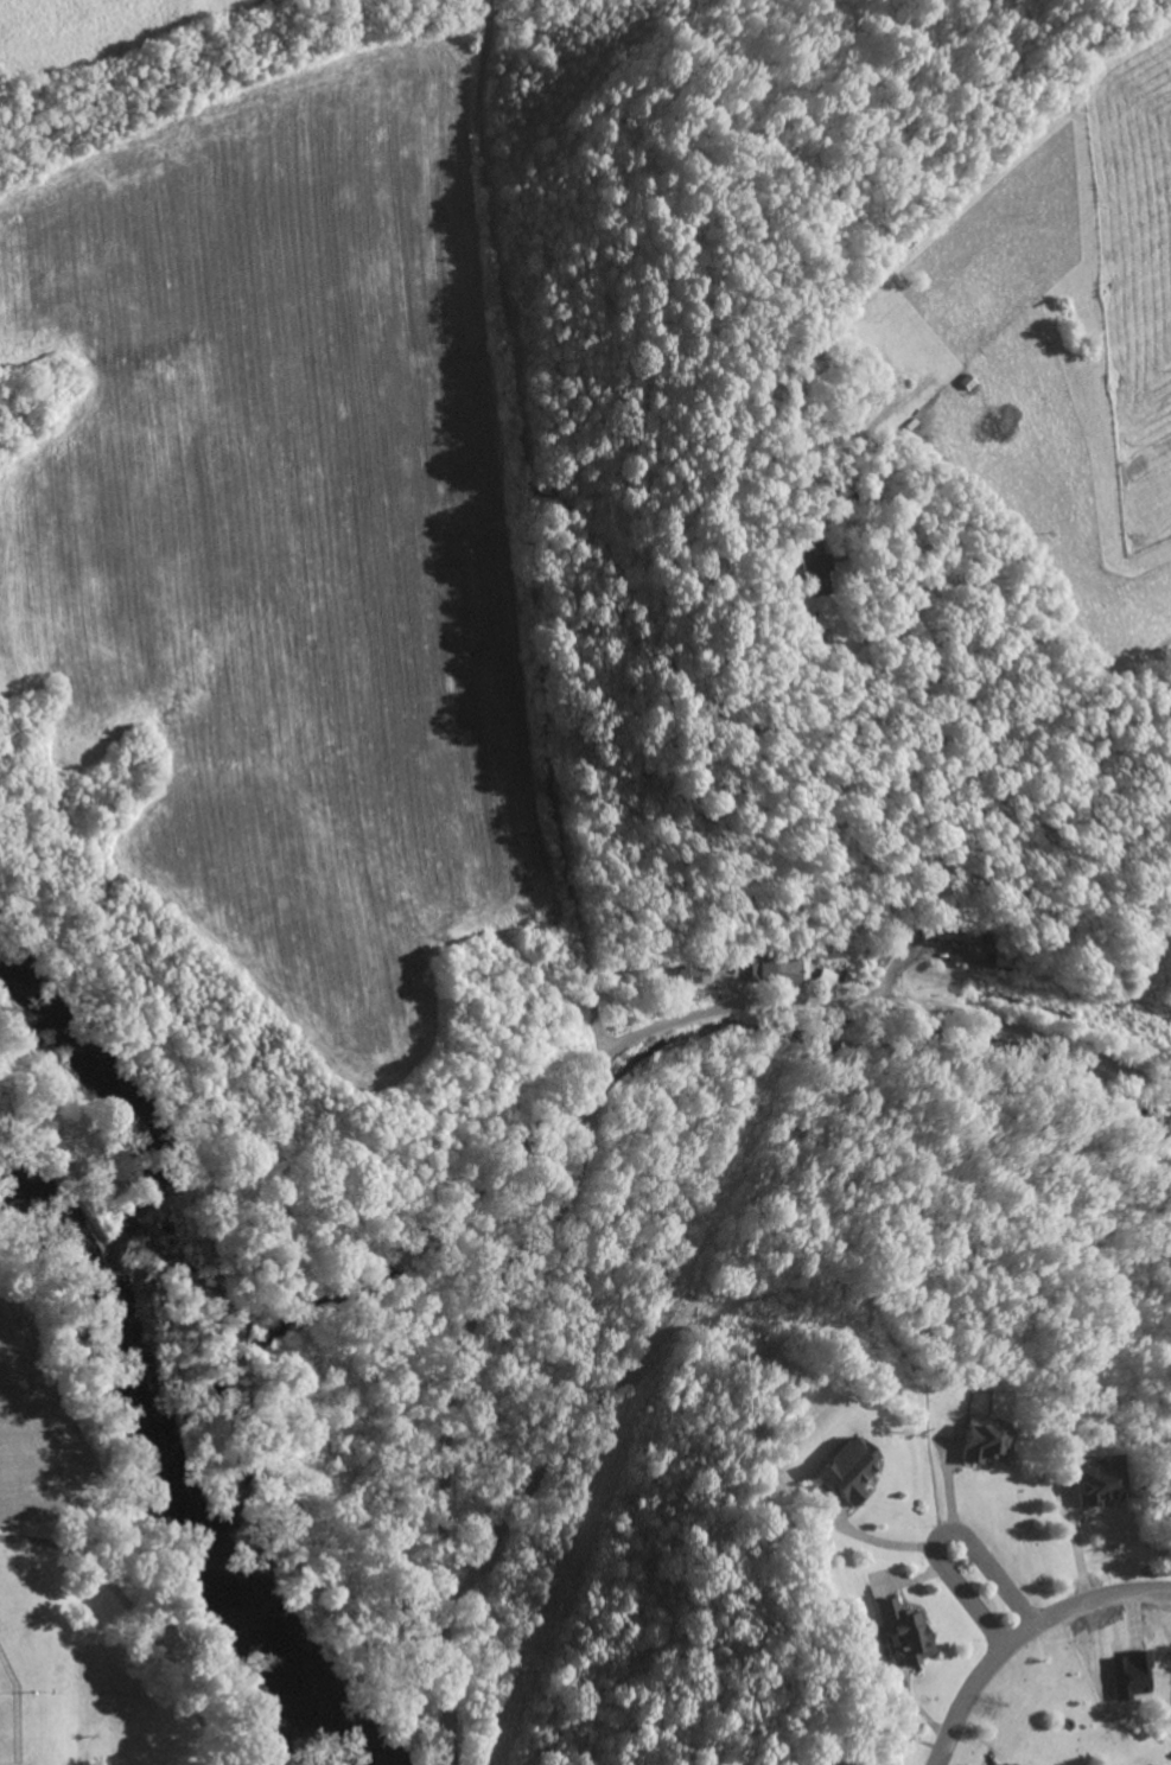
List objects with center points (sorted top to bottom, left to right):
road: (530, 531)
building: (814, 572)
road: (743, 727)
building: (778, 969)
building: (694, 973)
building: (828, 979)
road: (592, 1136)
building: (982, 1445)
river: (177, 1463)
building: (846, 1472)
building: (1097, 1483)
road: (943, 1538)
road: (136, 1616)
building: (900, 1636)
road: (1023, 1636)
park: (126, 1664)
park: (8, 1714)

